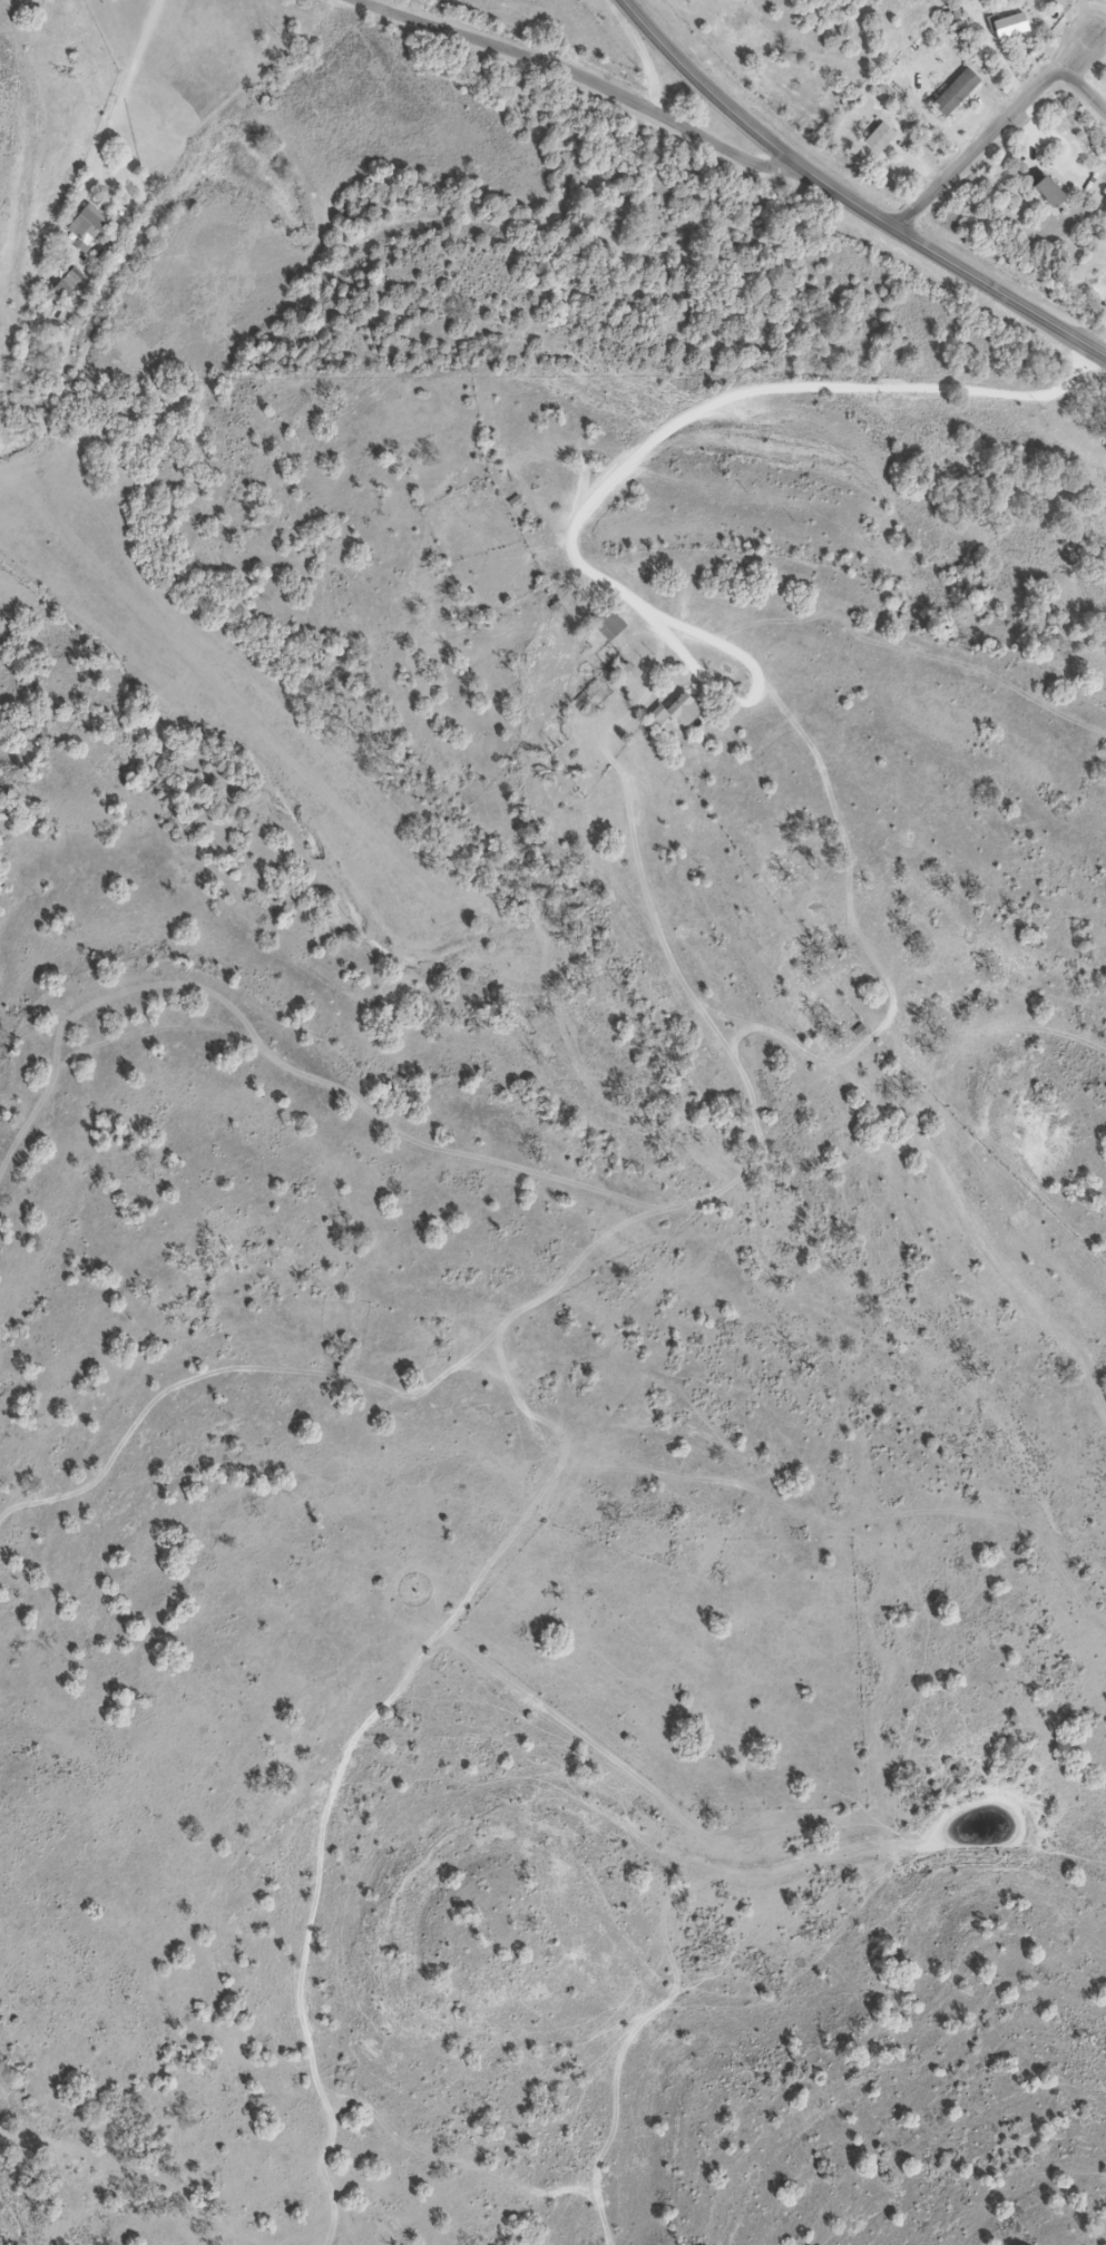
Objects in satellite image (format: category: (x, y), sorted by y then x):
building: (1010, 27)
road: (579, 77)
road: (137, 87)
road: (1081, 89)
building: (956, 92)
road: (994, 131)
building: (880, 138)
road: (1064, 141)
road: (1046, 169)
building: (1050, 193)
road: (848, 198)
building: (87, 226)
road: (626, 469)
building: (609, 625)
building: (679, 713)

